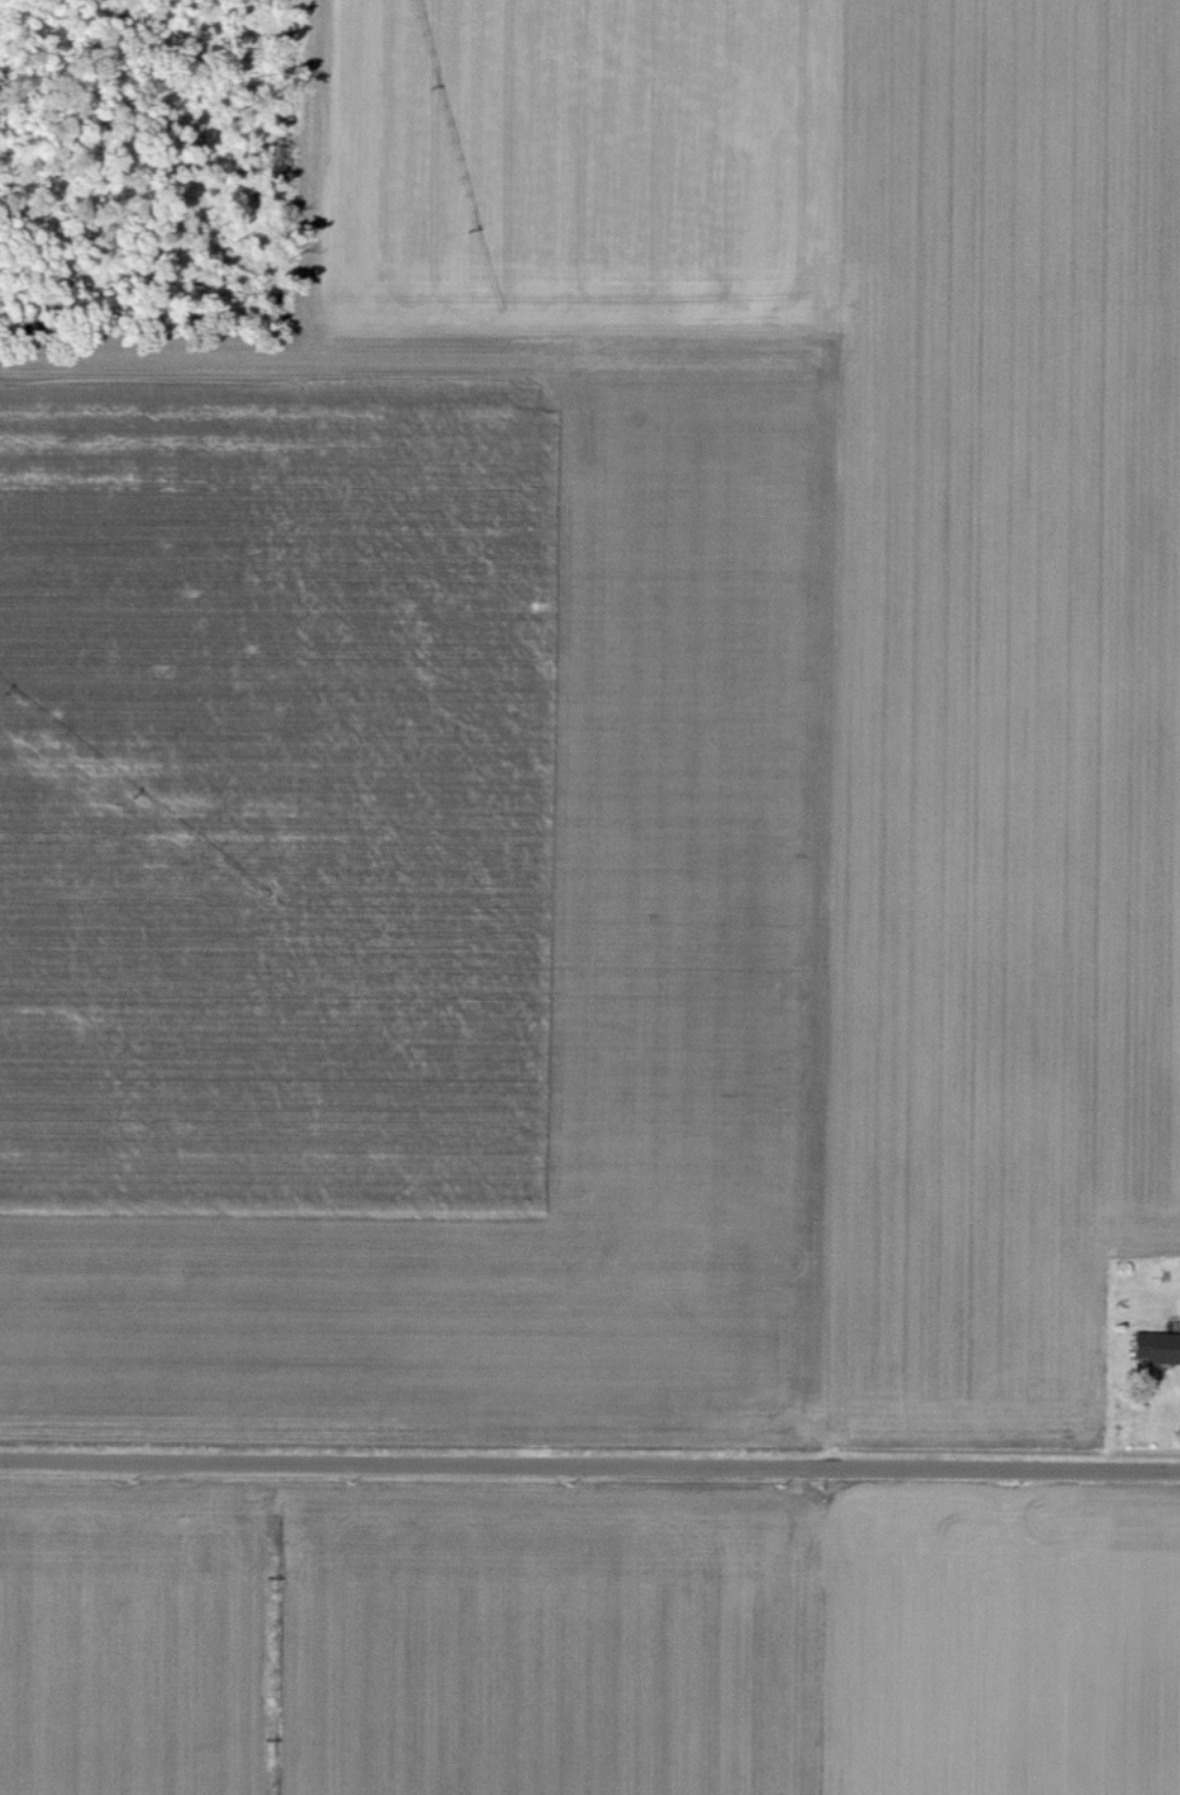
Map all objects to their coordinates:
building: (1155, 1347)
road: (590, 1463)

